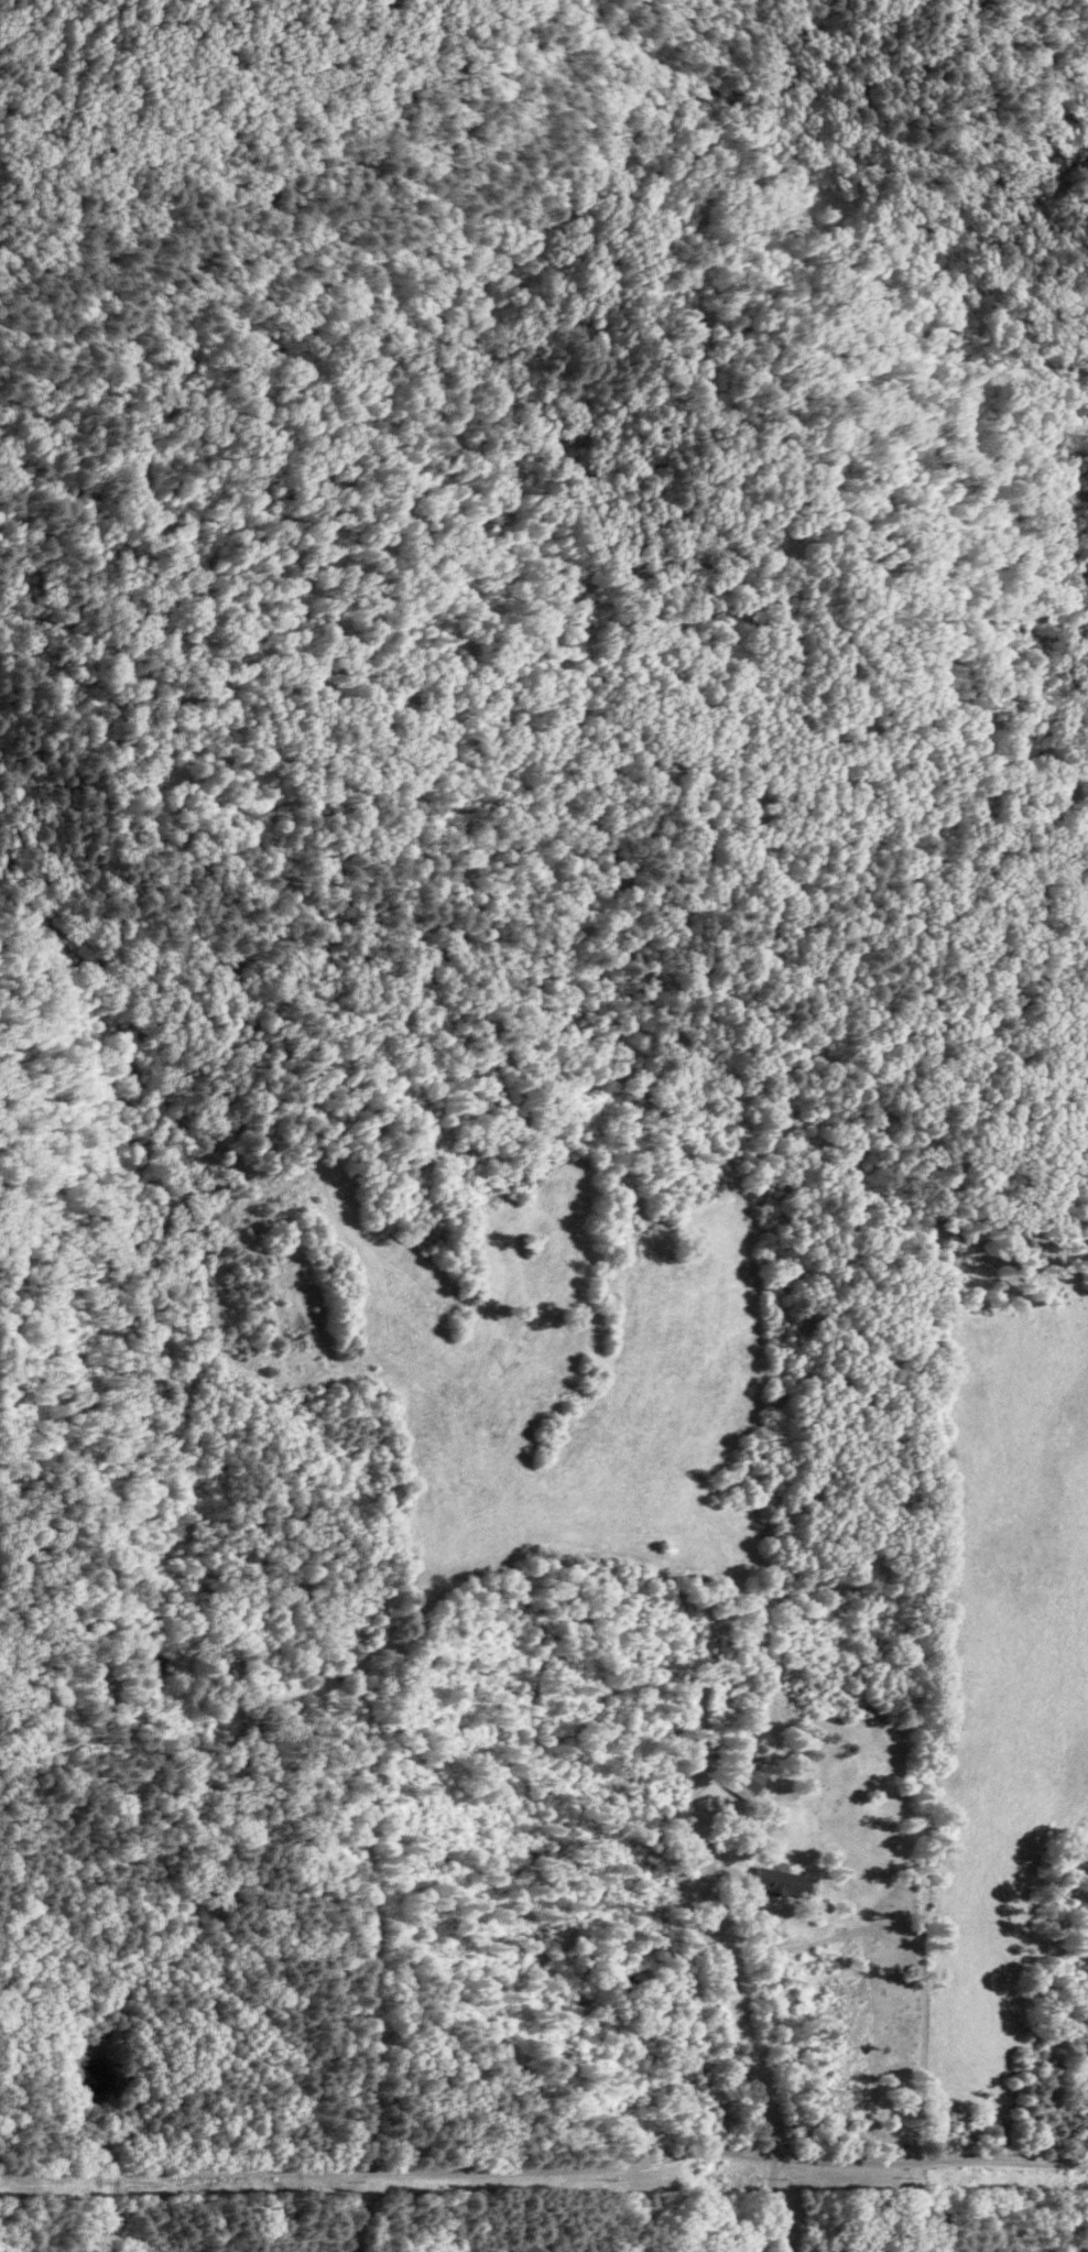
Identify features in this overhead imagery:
building: (752, 1778)
building: (785, 1881)
road: (545, 2162)

